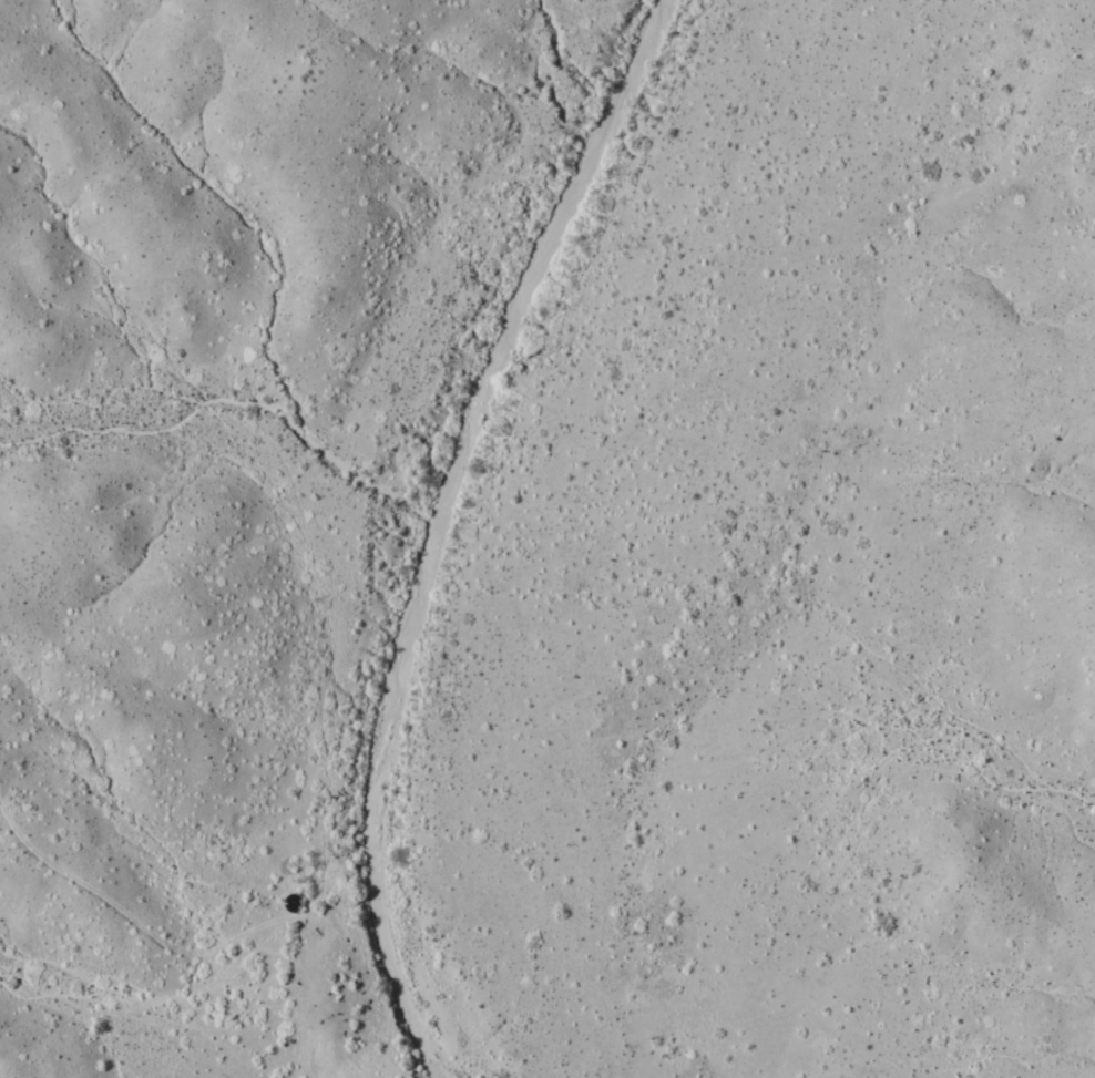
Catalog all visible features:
road: (123, 902)

